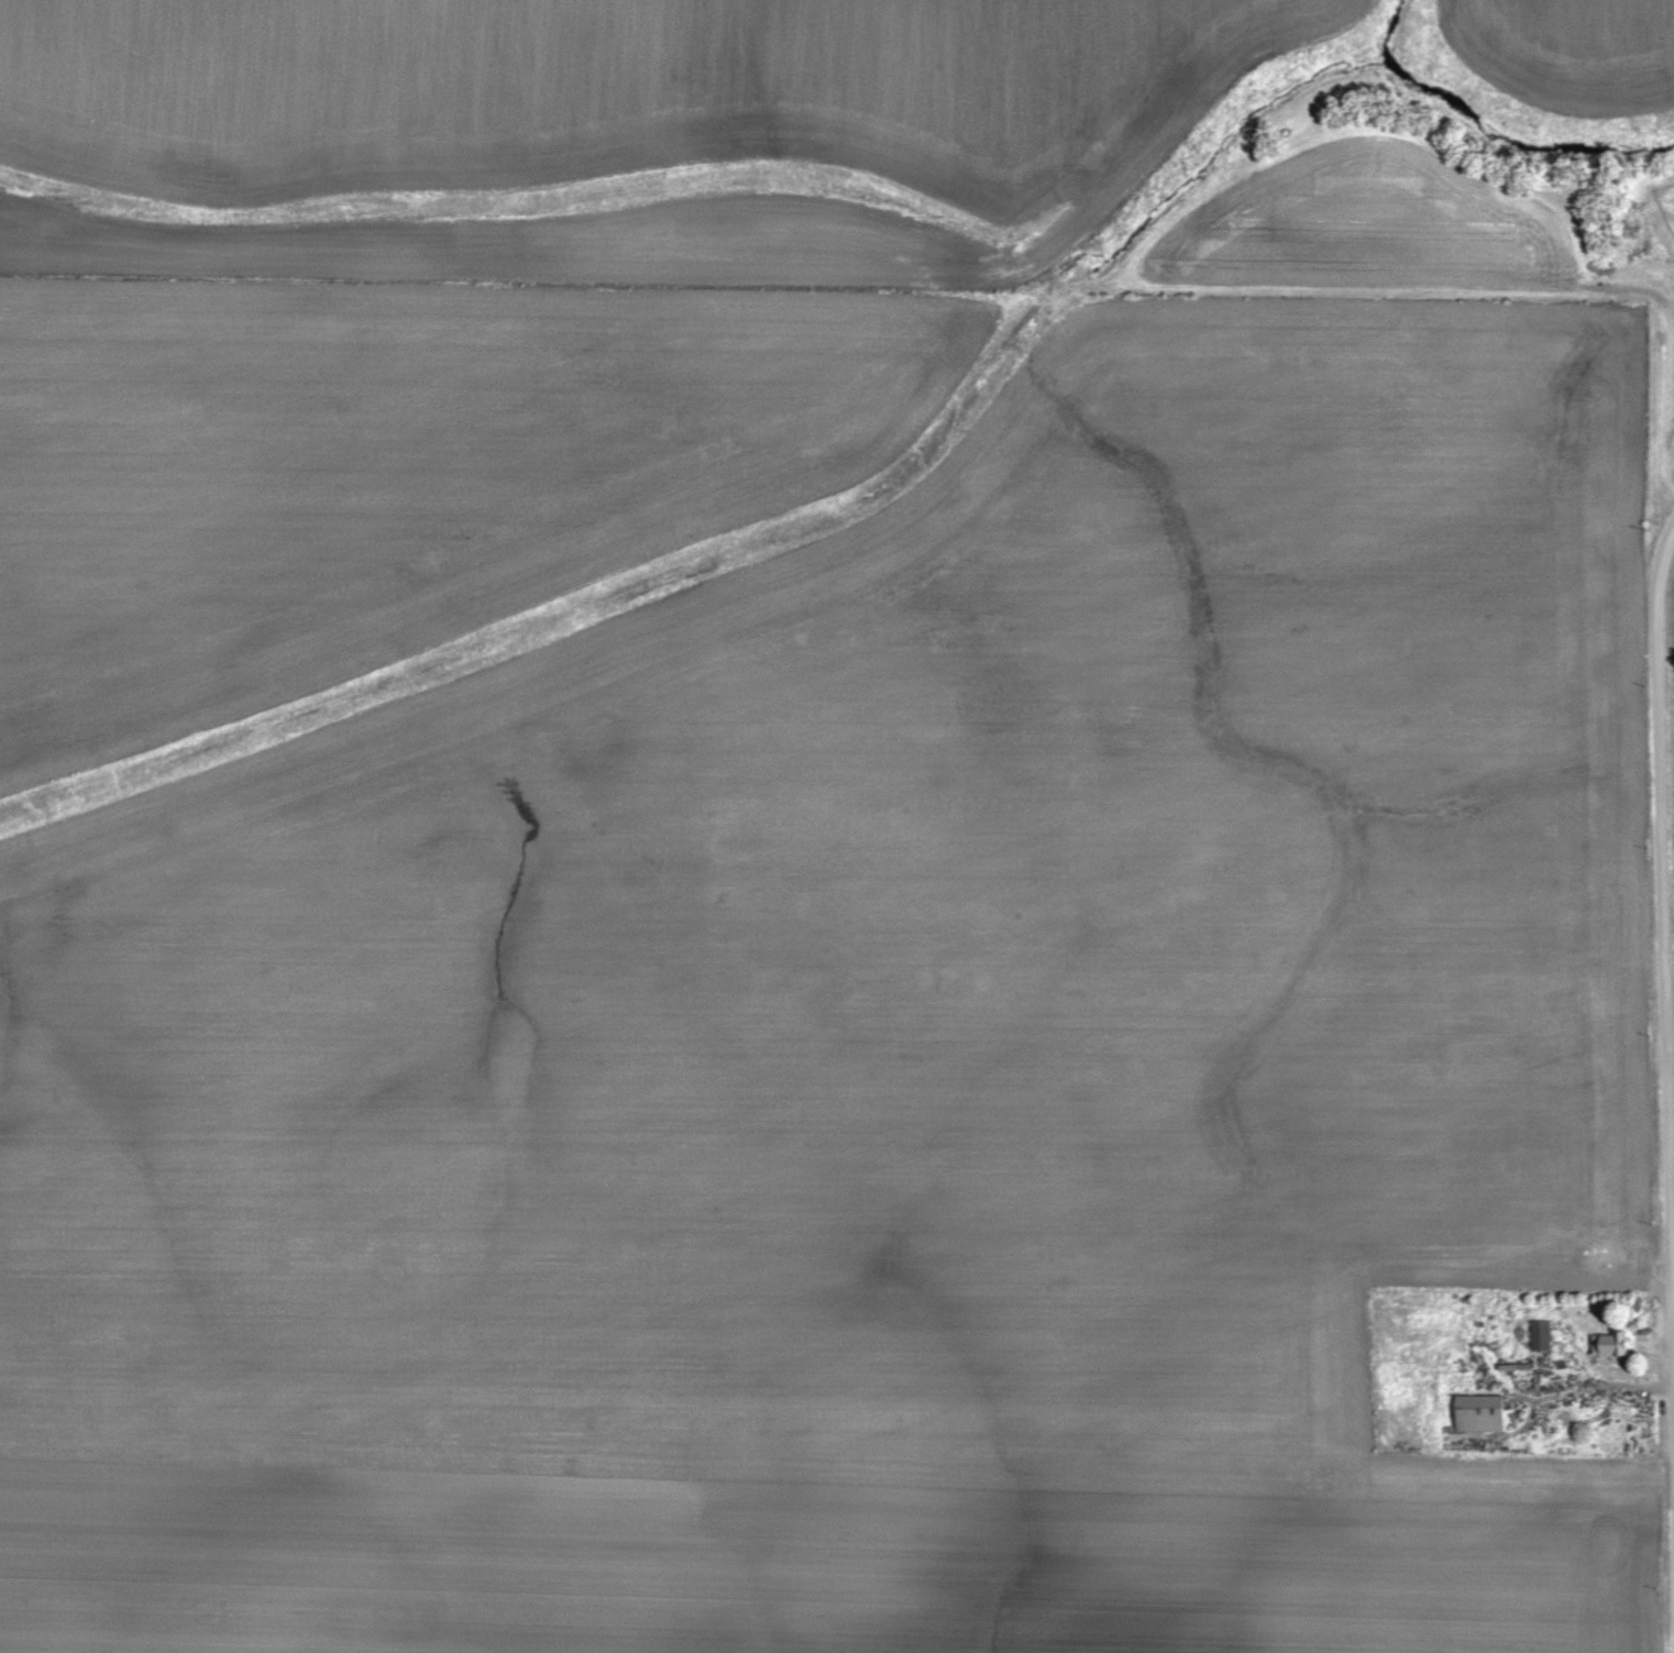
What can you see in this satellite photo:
road: (1663, 1033)
building: (1545, 1337)
building: (1614, 1345)
road: (1584, 1393)
building: (1486, 1415)

